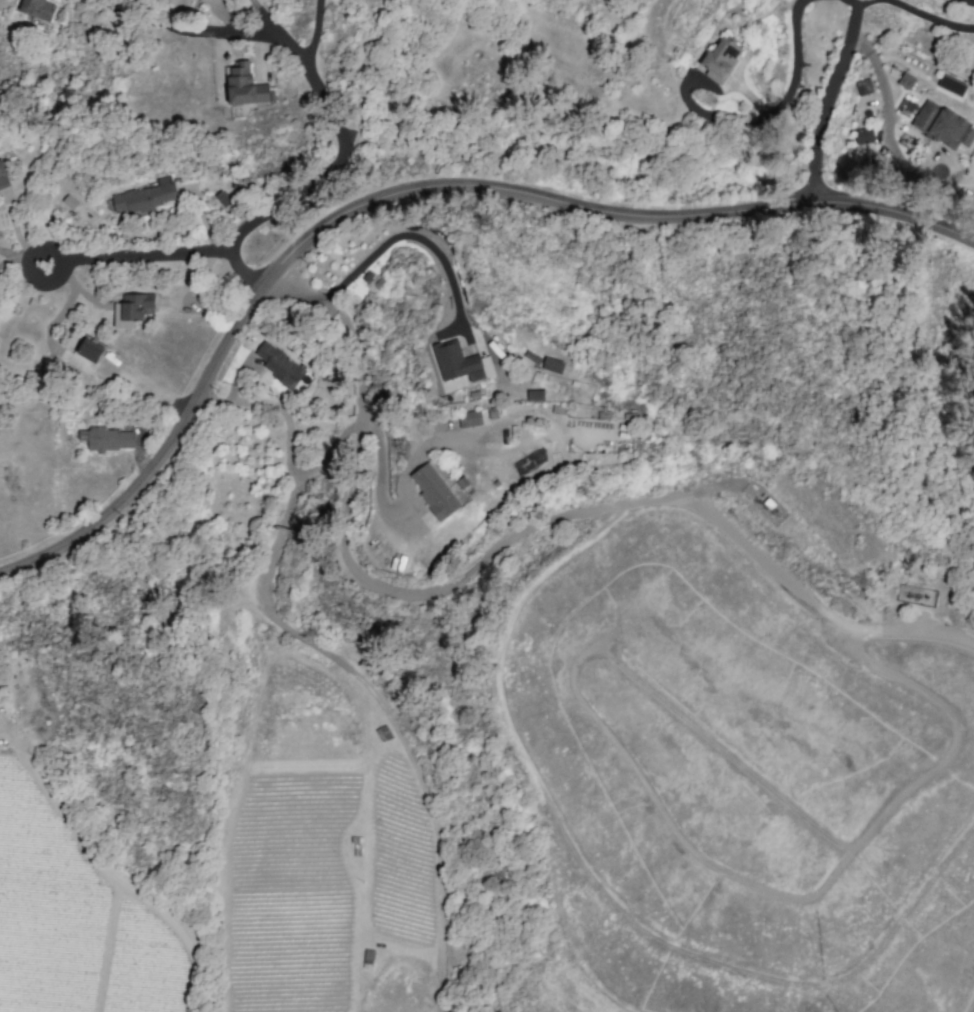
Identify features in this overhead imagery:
road: (968, 1)
building: (37, 8)
road: (262, 18)
road: (929, 19)
road: (206, 32)
building: (721, 58)
road: (878, 77)
road: (794, 80)
building: (906, 81)
building: (244, 85)
building: (863, 86)
building: (952, 86)
road: (831, 100)
building: (924, 115)
building: (950, 129)
building: (864, 136)
road: (342, 149)
building: (3, 177)
building: (144, 197)
building: (222, 198)
road: (607, 215)
road: (411, 235)
road: (21, 254)
road: (135, 255)
road: (244, 270)
building: (132, 309)
building: (90, 350)
building: (460, 362)
building: (279, 365)
building: (552, 365)
building: (469, 418)
road: (287, 444)
road: (359, 447)
road: (166, 458)
building: (434, 491)
landfill: (671, 667)
road: (388, 713)
crop: (243, 872)

